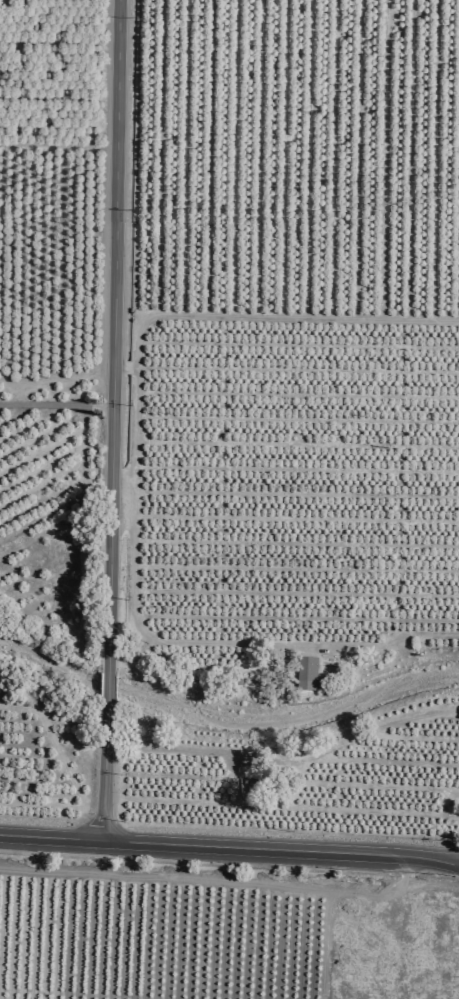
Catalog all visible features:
road: (274, 315)
road: (125, 368)
road: (114, 370)
road: (54, 404)
road: (108, 419)
building: (305, 674)
road: (174, 750)
road: (228, 845)
road: (457, 862)
road: (457, 863)

